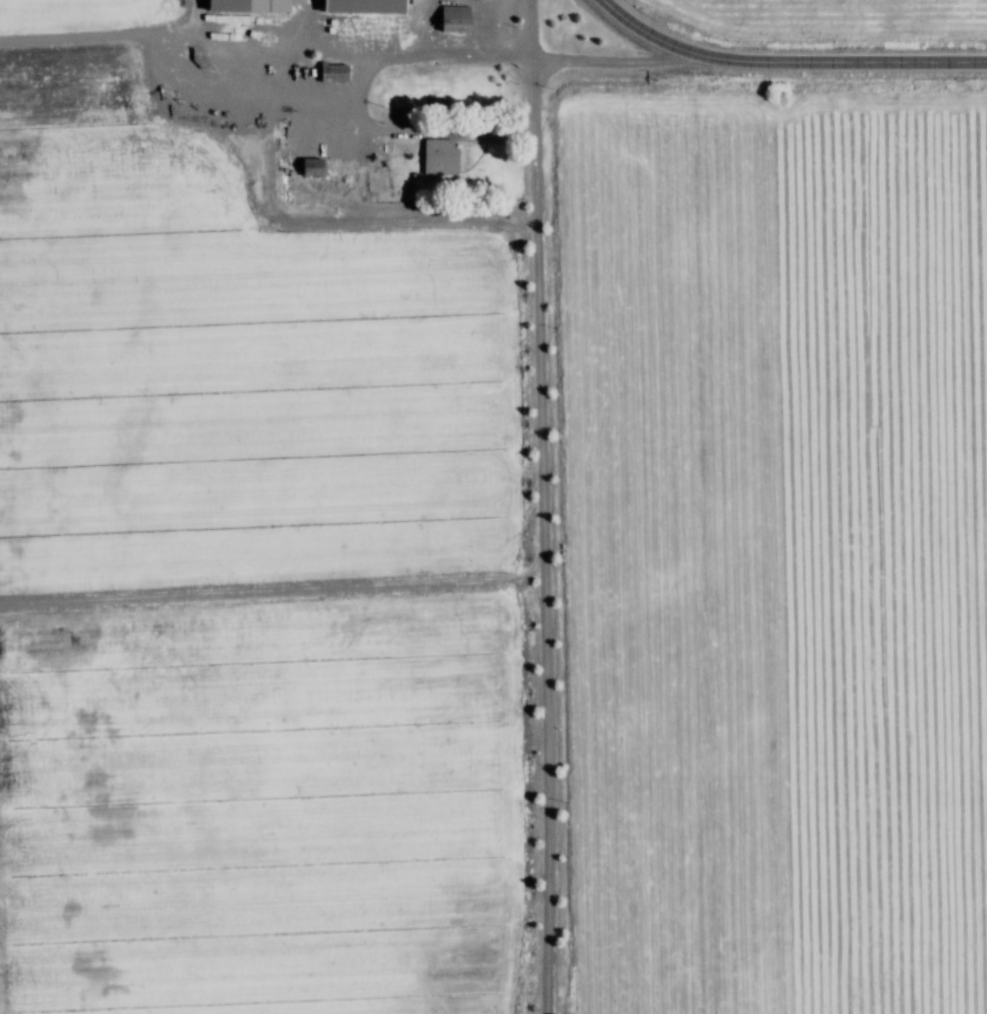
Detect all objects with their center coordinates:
building: (259, 5)
building: (373, 6)
crop: (87, 13)
crop: (844, 16)
building: (467, 18)
road: (269, 35)
road: (396, 58)
road: (789, 61)
road: (621, 62)
building: (347, 73)
road: (262, 99)
road: (427, 131)
building: (451, 160)
building: (325, 167)
road: (361, 220)
crop: (236, 364)
road: (545, 506)
crop: (780, 545)
crop: (270, 806)

